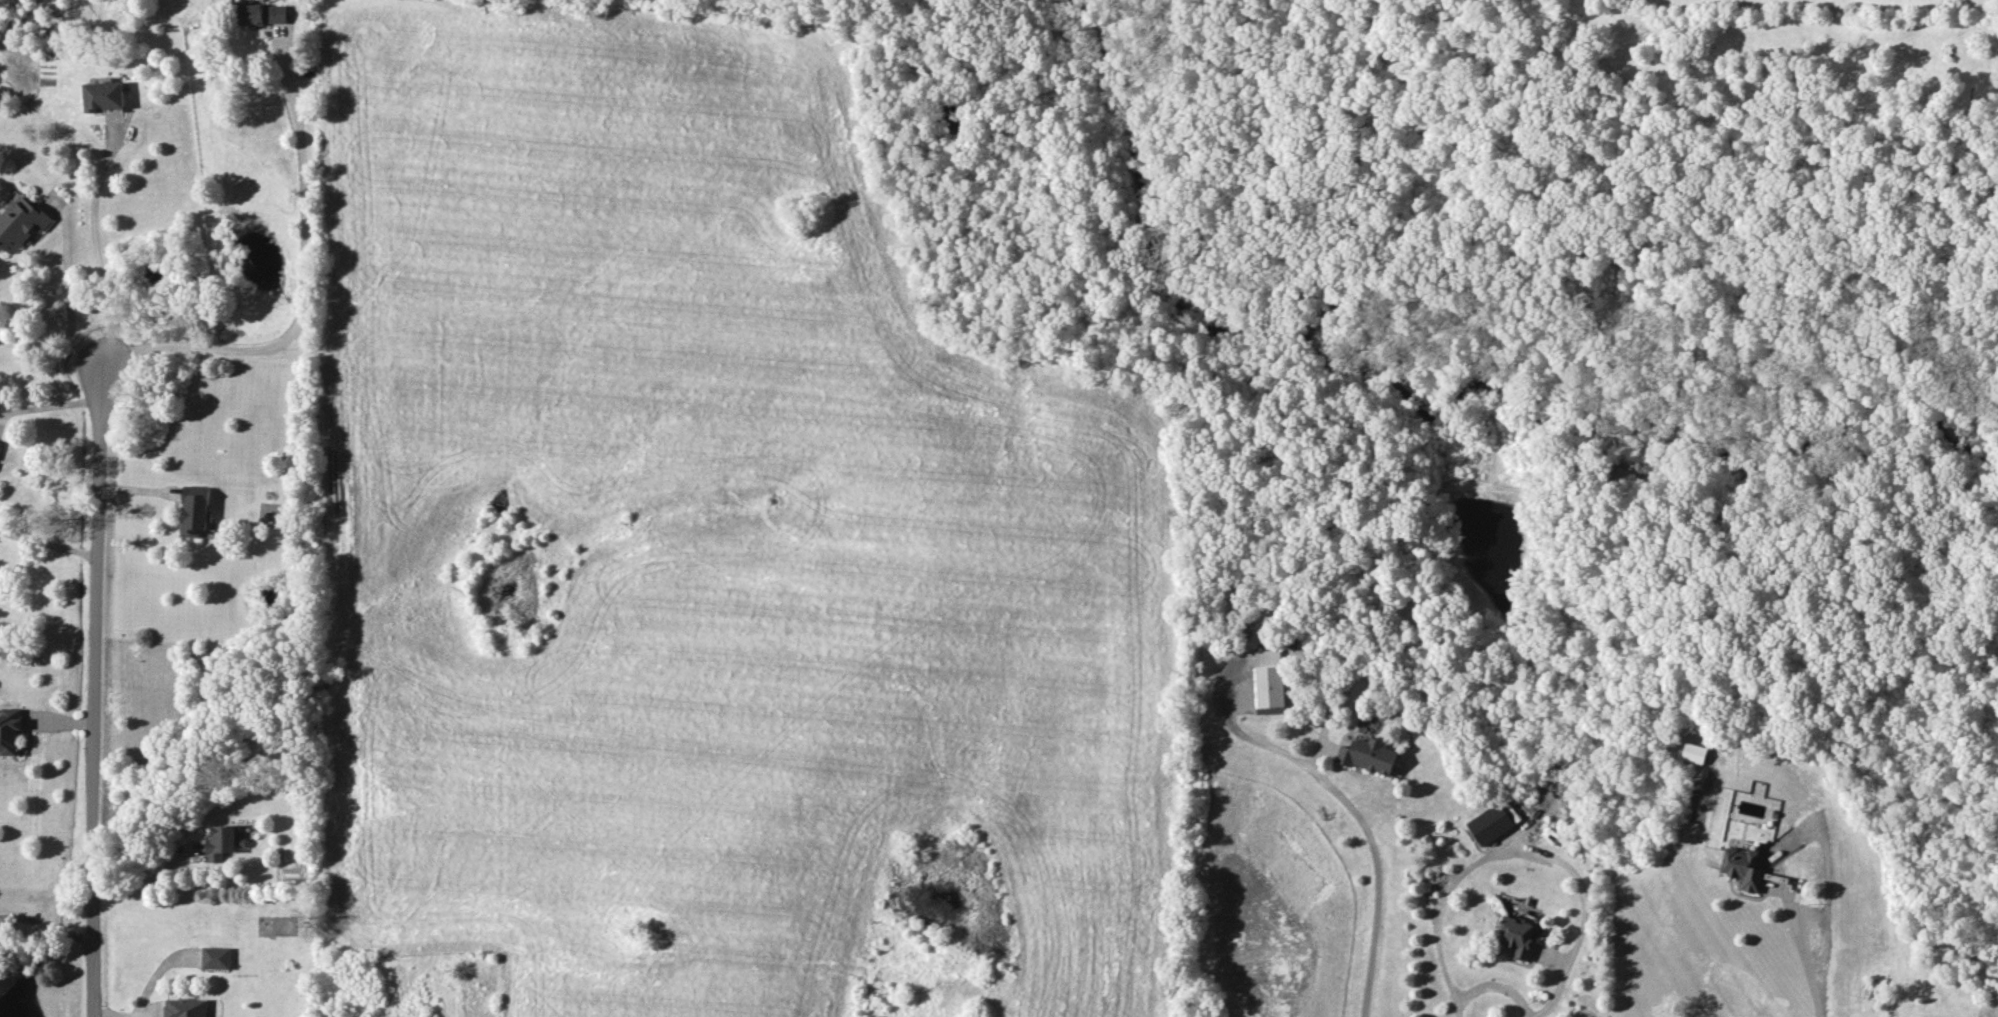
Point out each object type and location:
building: (262, 13)
building: (103, 96)
building: (20, 223)
road: (96, 241)
road: (64, 285)
road: (303, 287)
road: (48, 406)
road: (136, 486)
building: (194, 508)
road: (49, 544)
building: (1268, 681)
road: (99, 688)
building: (9, 730)
building: (1693, 752)
building: (1367, 755)
road: (1356, 815)
building: (1490, 823)
building: (1742, 868)
road: (151, 877)
road: (50, 927)
building: (1517, 936)
road: (1805, 938)
building: (215, 957)
road: (1487, 980)
building: (184, 1007)

